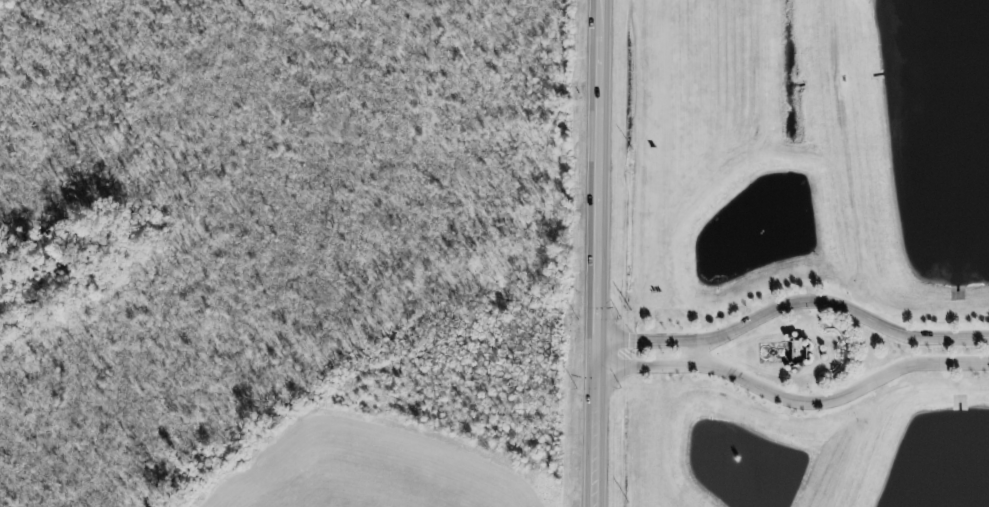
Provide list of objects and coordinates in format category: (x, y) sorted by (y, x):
road: (600, 253)
road: (793, 301)
road: (793, 400)

